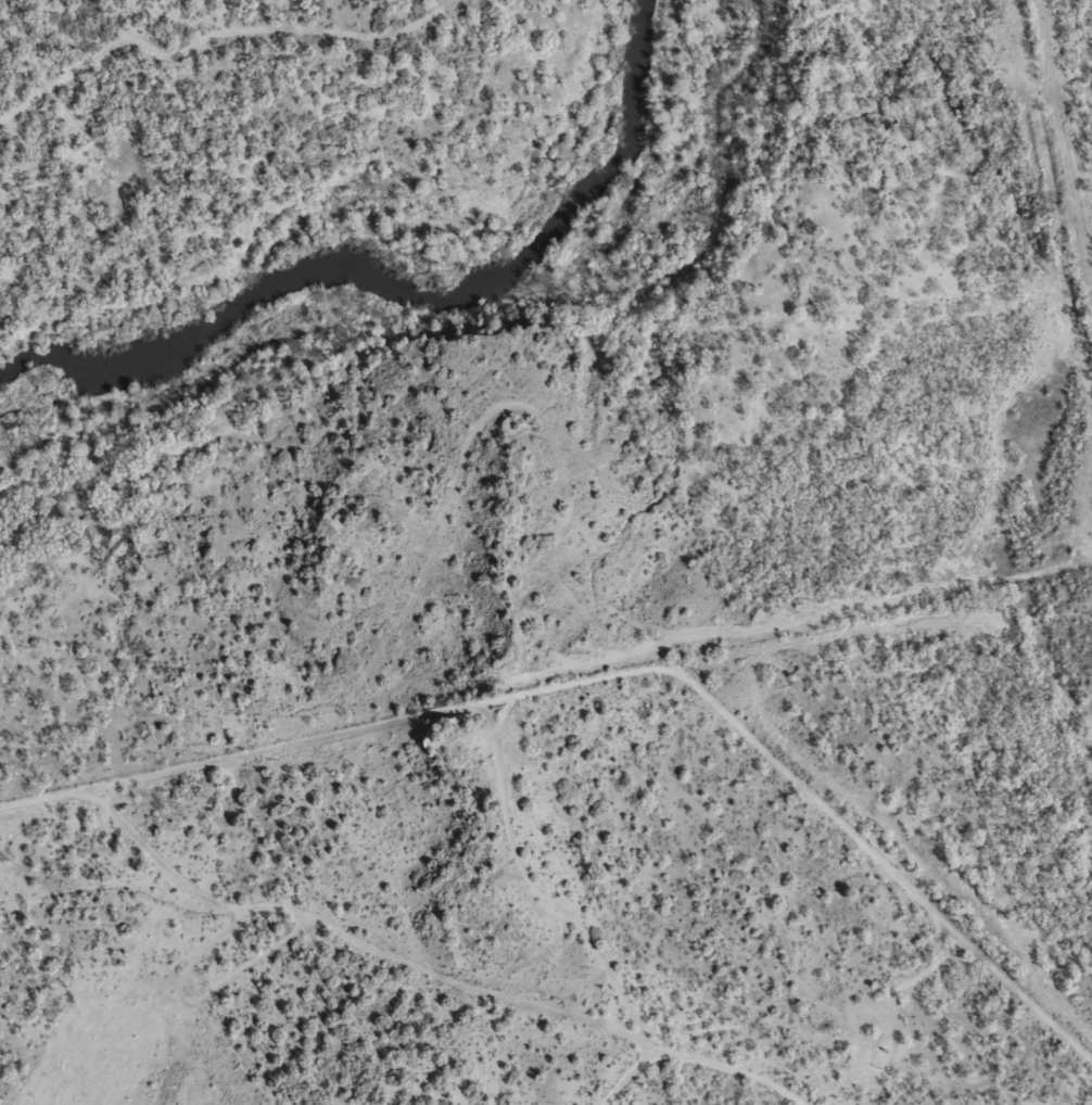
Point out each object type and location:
river: (404, 289)
road: (681, 1060)

